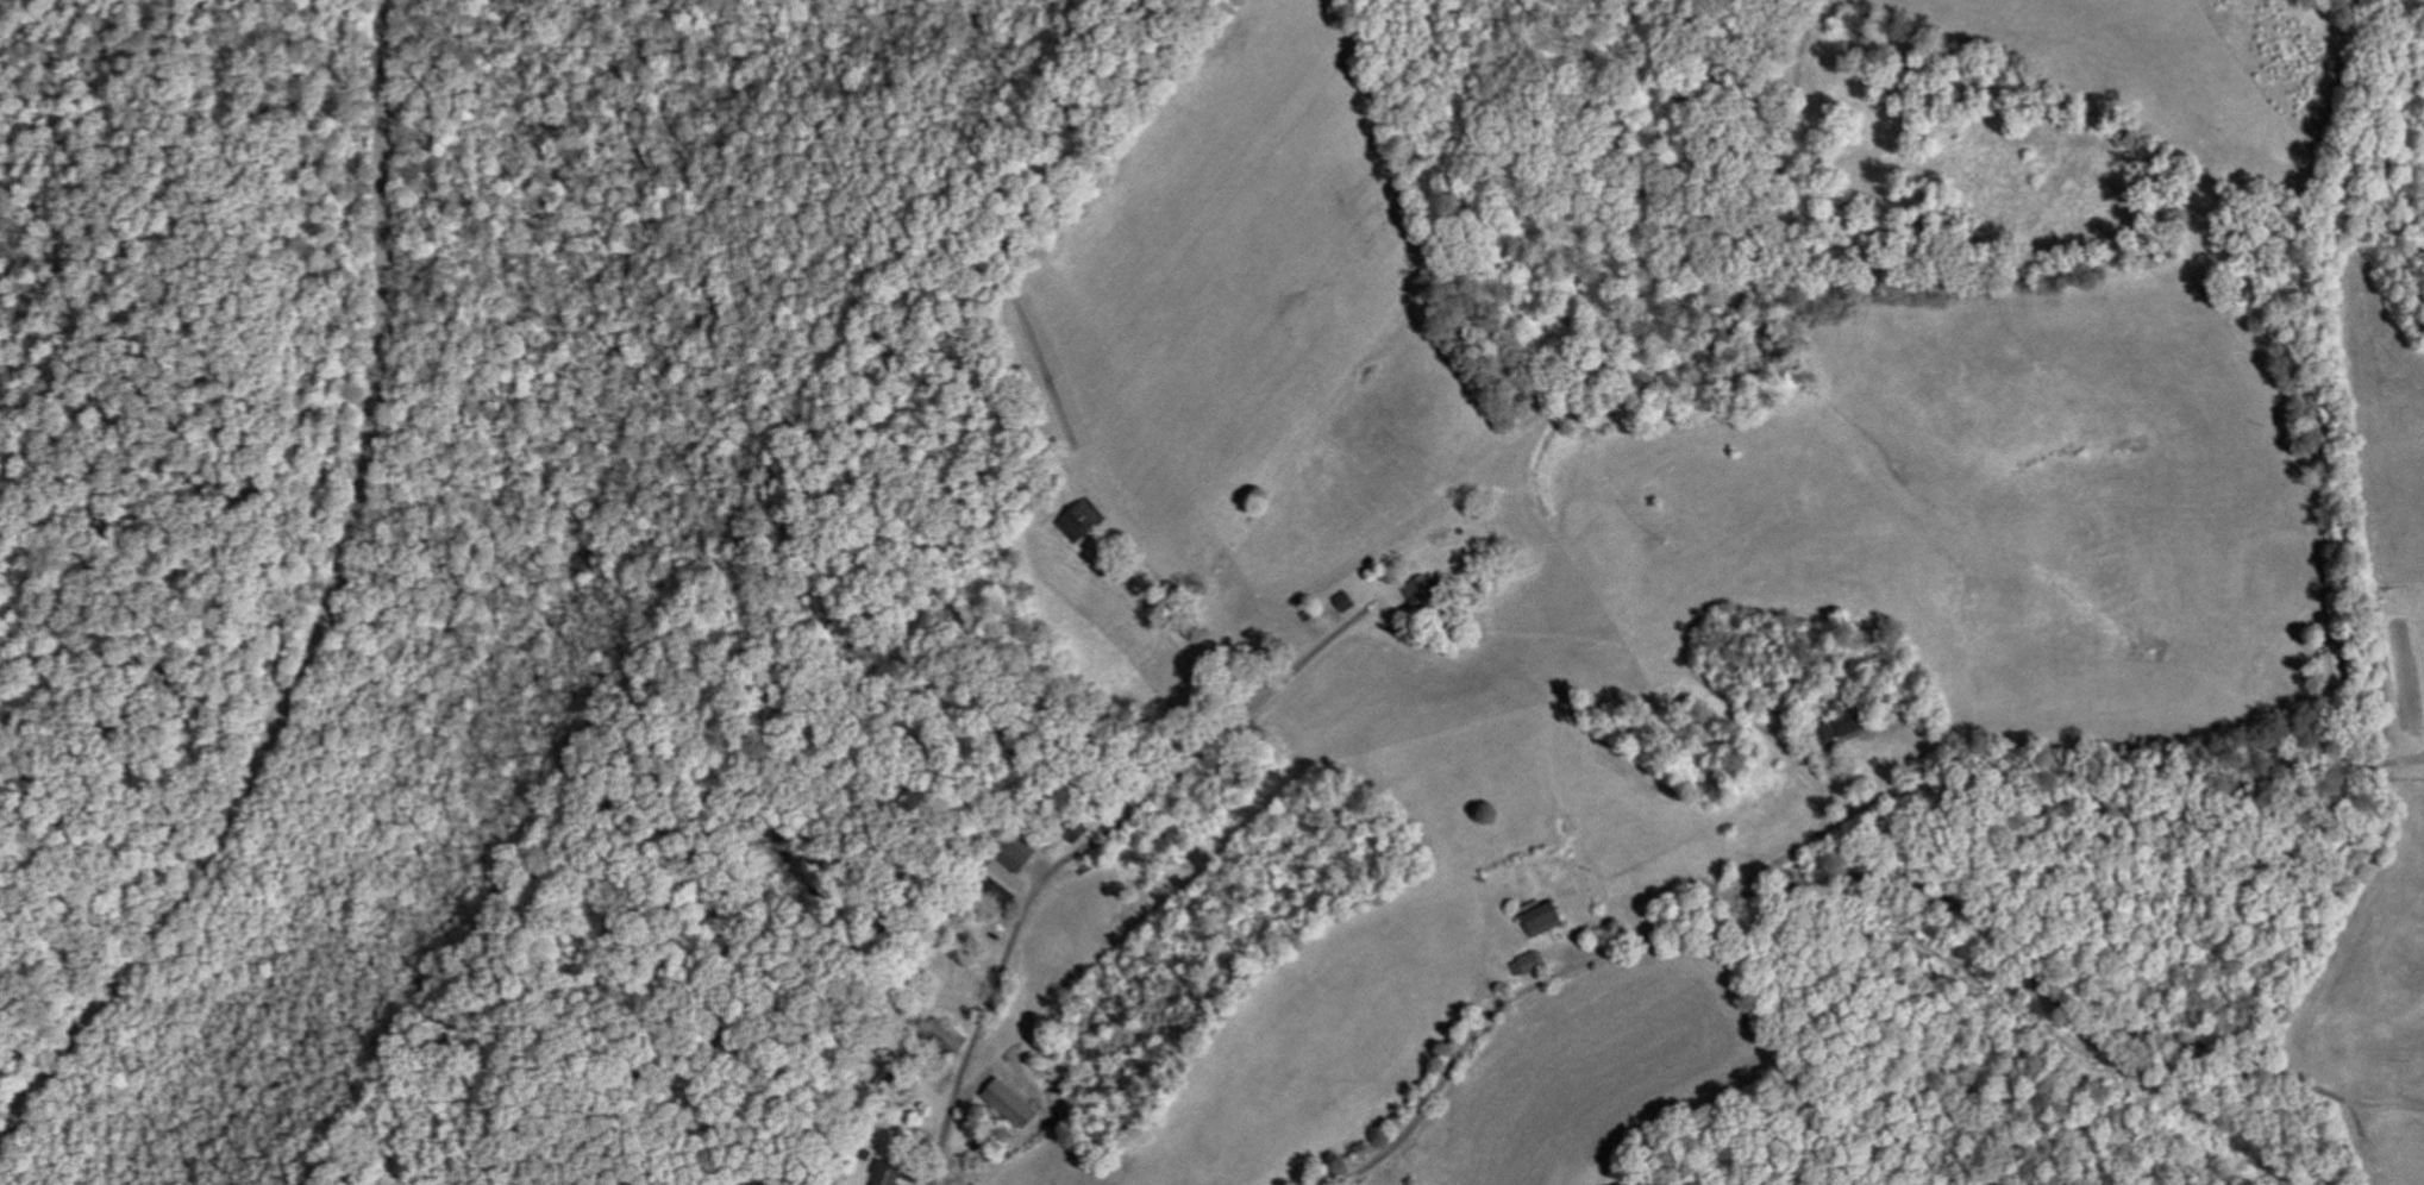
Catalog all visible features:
building: (1088, 523)
road: (328, 617)
building: (1848, 729)
road: (2423, 757)
road: (2423, 759)
road: (2069, 803)
building: (1017, 867)
road: (1829, 896)
road: (1025, 913)
building: (1549, 922)
building: (1533, 966)
building: (1016, 1105)
building: (903, 1173)

